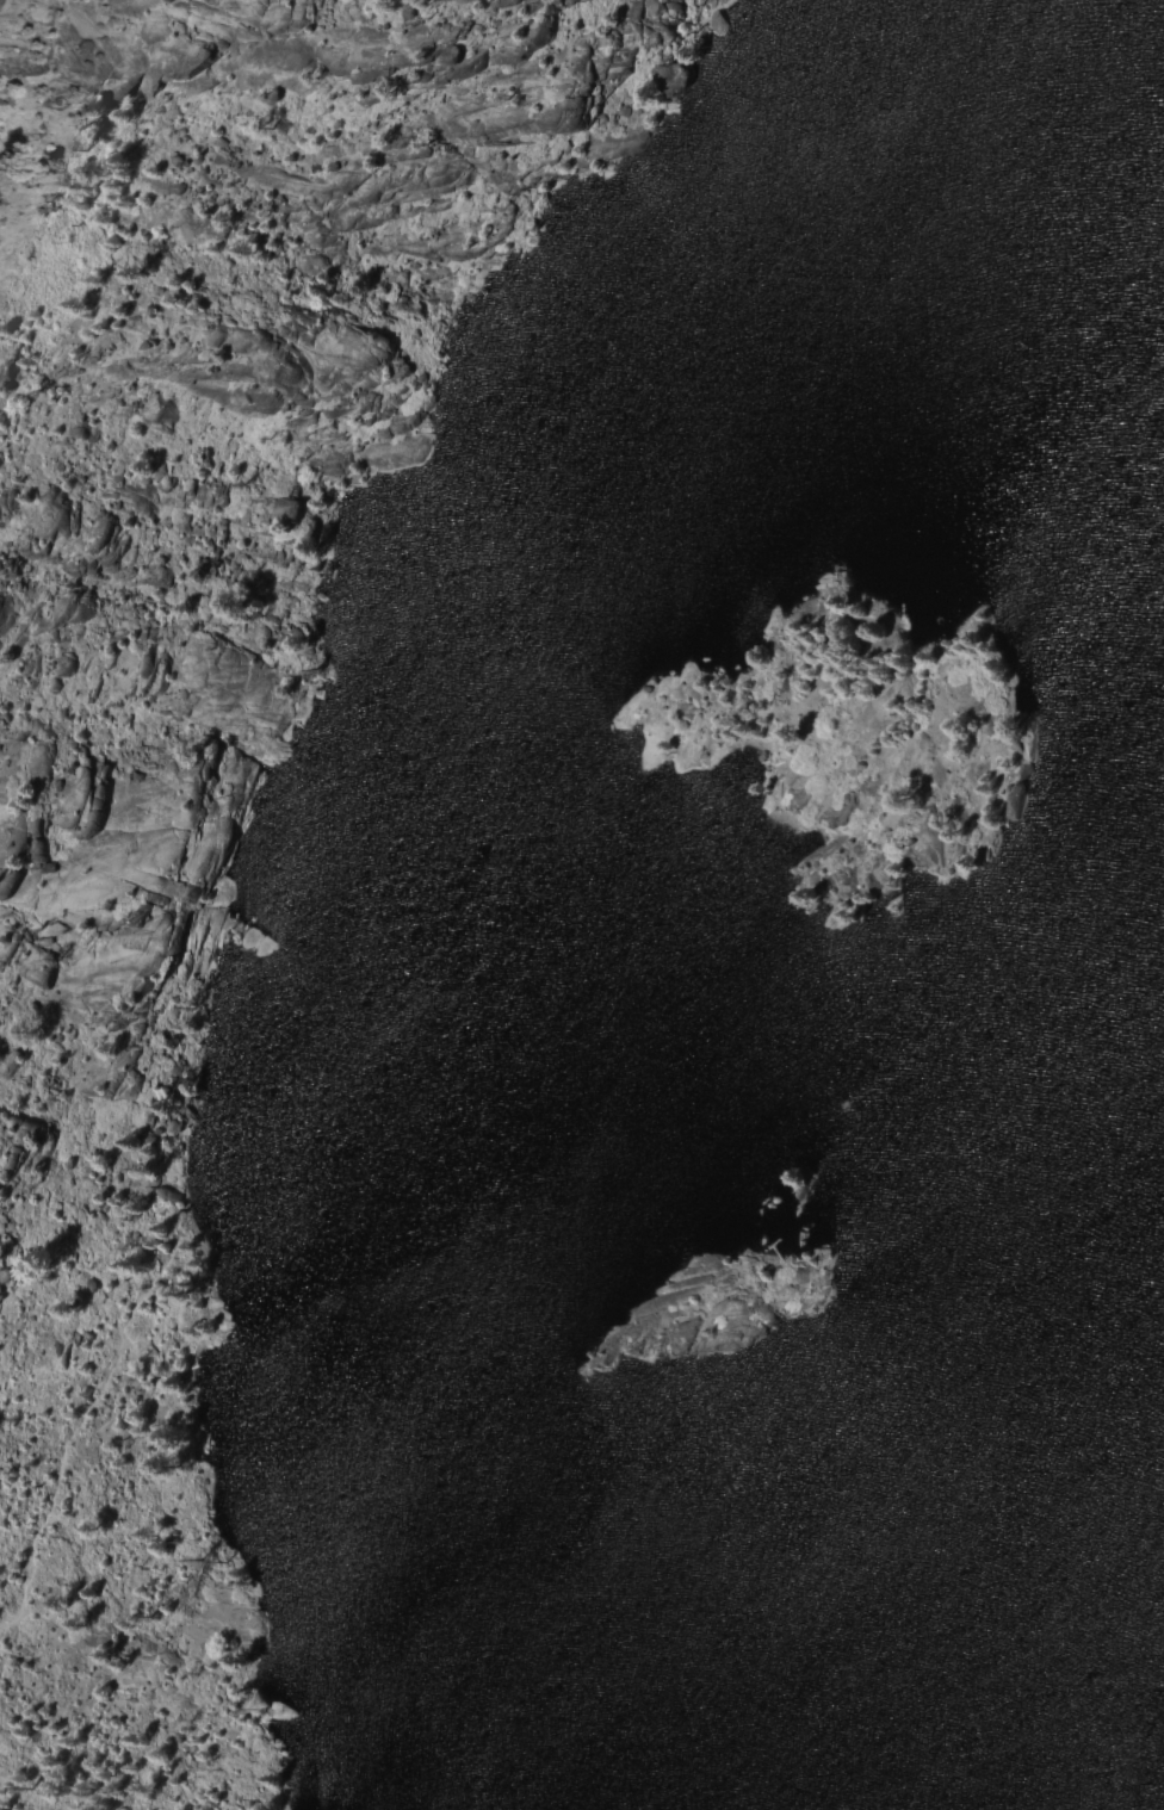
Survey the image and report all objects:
road: (67, 1461)
road: (6, 1796)

